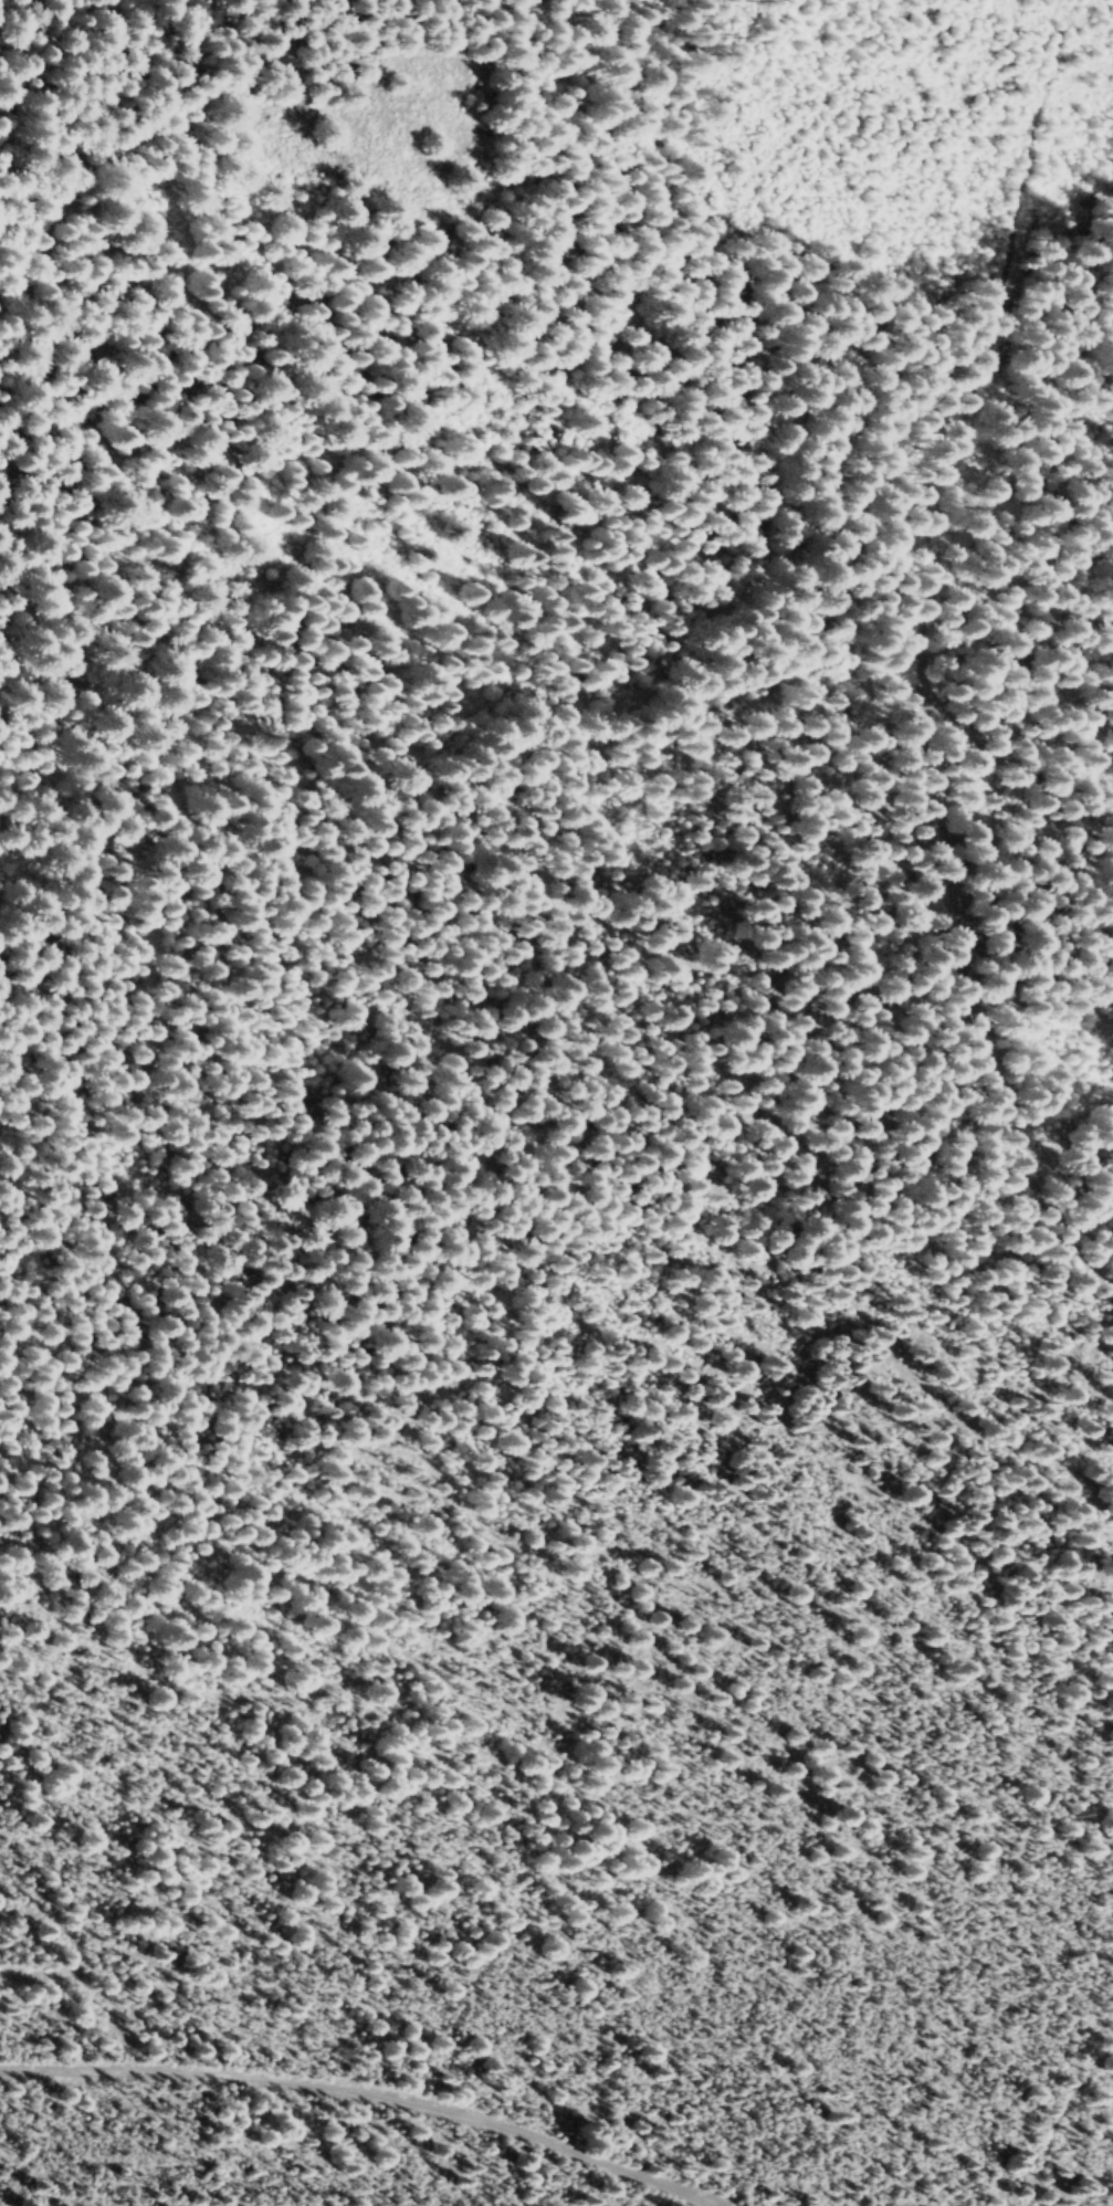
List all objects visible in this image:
road: (360, 2100)

